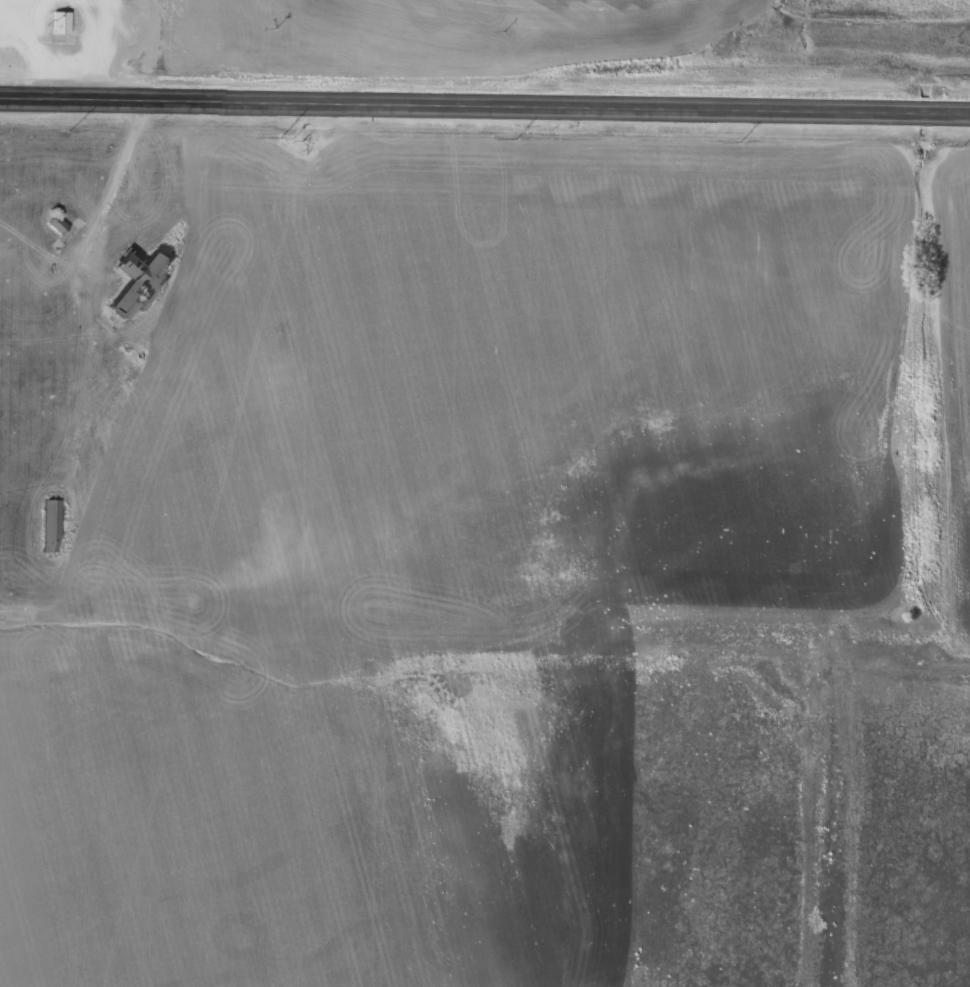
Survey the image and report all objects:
building: (64, 23)
road: (484, 107)
building: (60, 225)

